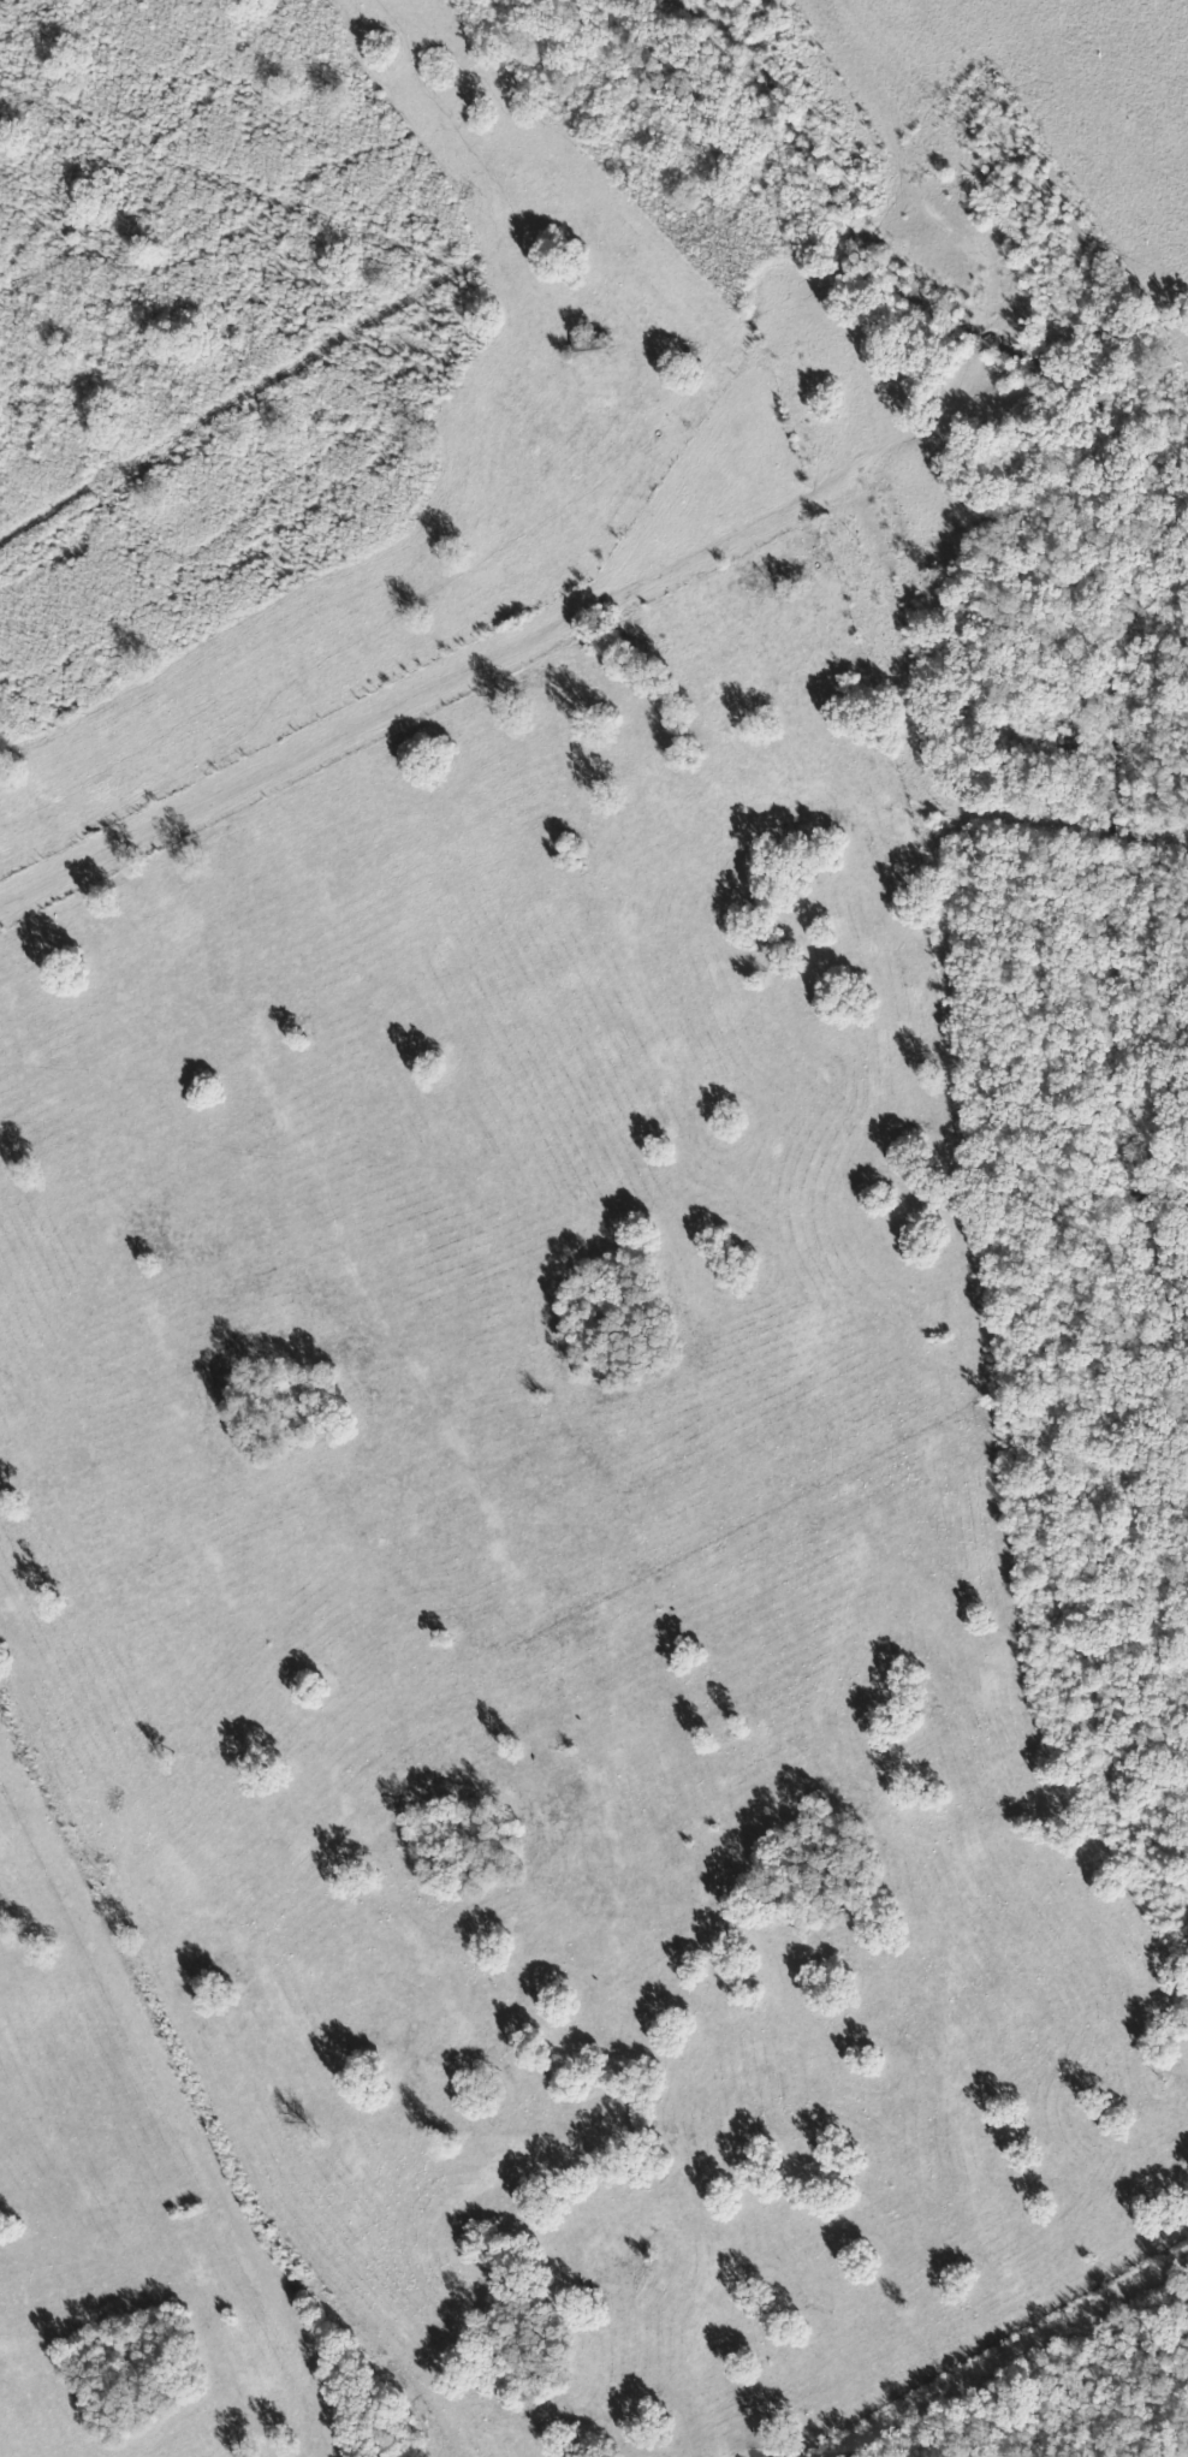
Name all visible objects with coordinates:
road: (420, 701)

